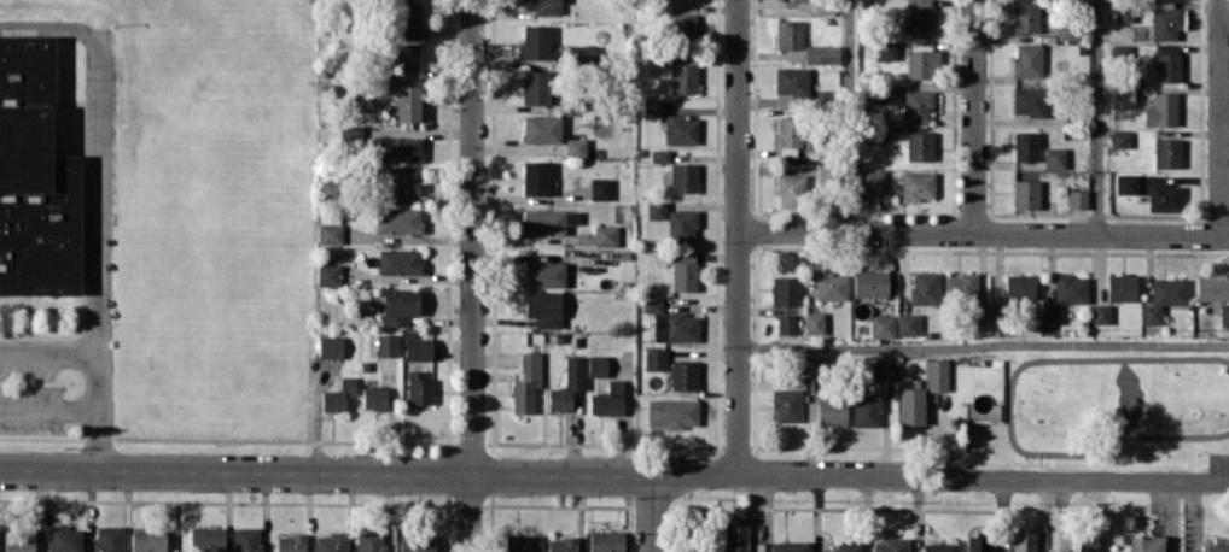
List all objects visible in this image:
building: (544, 6)
building: (1124, 11)
building: (1025, 16)
building: (406, 18)
building: (919, 19)
building: (1165, 20)
road: (53, 23)
building: (682, 25)
building: (1066, 30)
building: (788, 34)
building: (535, 41)
building: (886, 49)
building: (1120, 52)
building: (821, 53)
building: (401, 59)
building: (920, 60)
building: (1026, 60)
building: (1166, 61)
building: (682, 77)
building: (791, 81)
building: (535, 87)
building: (1123, 98)
building: (1027, 100)
building: (407, 102)
building: (918, 106)
building: (653, 107)
building: (1160, 110)
road: (850, 114)
road: (974, 116)
road: (1099, 117)
road: (1222, 117)
building: (541, 128)
building: (681, 129)
building: (349, 134)
building: (788, 136)
building: (1119, 137)
building: (919, 145)
building: (575, 146)
building: (1025, 146)
building: (398, 148)
building: (1166, 152)
building: (659, 155)
building: (1054, 157)
building: (34, 176)
building: (535, 177)
building: (683, 177)
building: (870, 181)
building: (398, 182)
building: (1125, 183)
building: (916, 184)
building: (600, 188)
building: (790, 190)
road: (99, 193)
building: (1025, 194)
building: (1164, 196)
building: (1077, 198)
building: (656, 210)
building: (397, 219)
building: (542, 222)
building: (681, 225)
building: (330, 231)
road: (984, 233)
building: (605, 235)
road: (472, 236)
road: (740, 236)
building: (400, 260)
building: (683, 270)
building: (328, 274)
building: (543, 274)
building: (869, 283)
building: (831, 286)
building: (1019, 286)
building: (1120, 286)
building: (924, 287)
building: (961, 287)
building: (1212, 287)
building: (785, 289)
building: (1065, 295)
building: (1164, 296)
building: (398, 306)
building: (543, 307)
building: (1100, 313)
building: (1224, 313)
building: (814, 322)
building: (671, 323)
building: (785, 323)
building: (907, 323)
building: (881, 325)
building: (386, 343)
road: (984, 345)
building: (330, 346)
building: (418, 348)
building: (654, 358)
road: (98, 359)
building: (596, 364)
building: (883, 369)
building: (683, 375)
building: (936, 375)
building: (525, 382)
building: (567, 384)
building: (419, 386)
building: (338, 394)
building: (374, 398)
building: (607, 399)
building: (786, 405)
building: (910, 405)
building: (867, 410)
park: (1116, 410)
road: (49, 411)
building: (671, 412)
building: (826, 412)
road: (614, 474)
road: (472, 512)
road: (653, 513)
road: (1171, 516)
building: (735, 534)
building: (107, 538)
building: (206, 538)
building: (64, 539)
building: (247, 539)
building: (147, 540)
building: (369, 540)
building: (19, 541)
building: (418, 541)
building: (606, 541)
building: (1023, 541)
building: (291, 542)
building: (331, 542)
building: (522, 542)
building: (561, 544)
building: (977, 544)
building: (1085, 544)
building: (1144, 544)
building: (890, 545)
building: (788, 546)
building: (938, 546)
building: (844, 547)
building: (1217, 547)
building: (695, 550)

